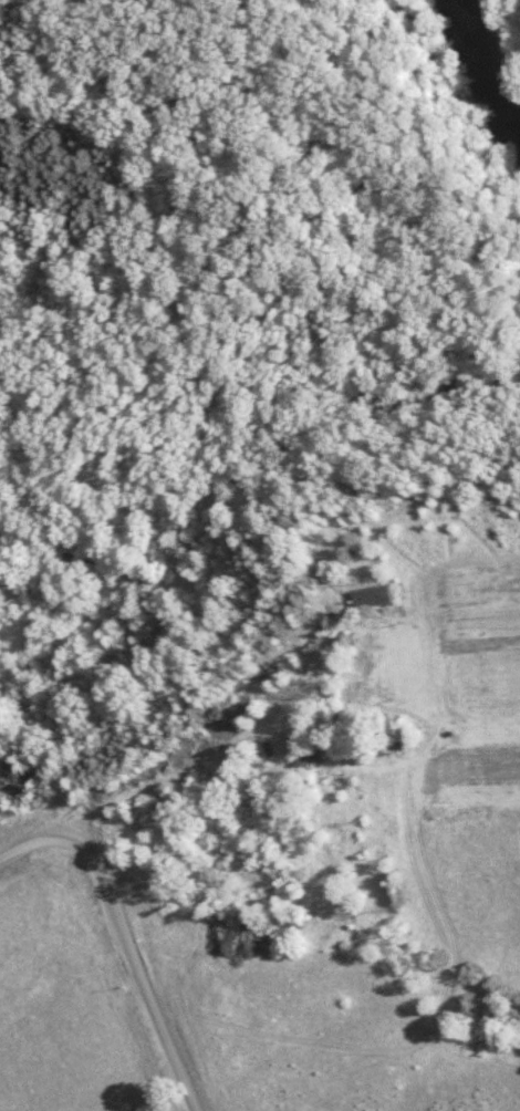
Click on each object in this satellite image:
river: (507, 38)
building: (367, 598)
road: (228, 740)
building: (372, 750)
building: (302, 756)
road: (121, 934)

